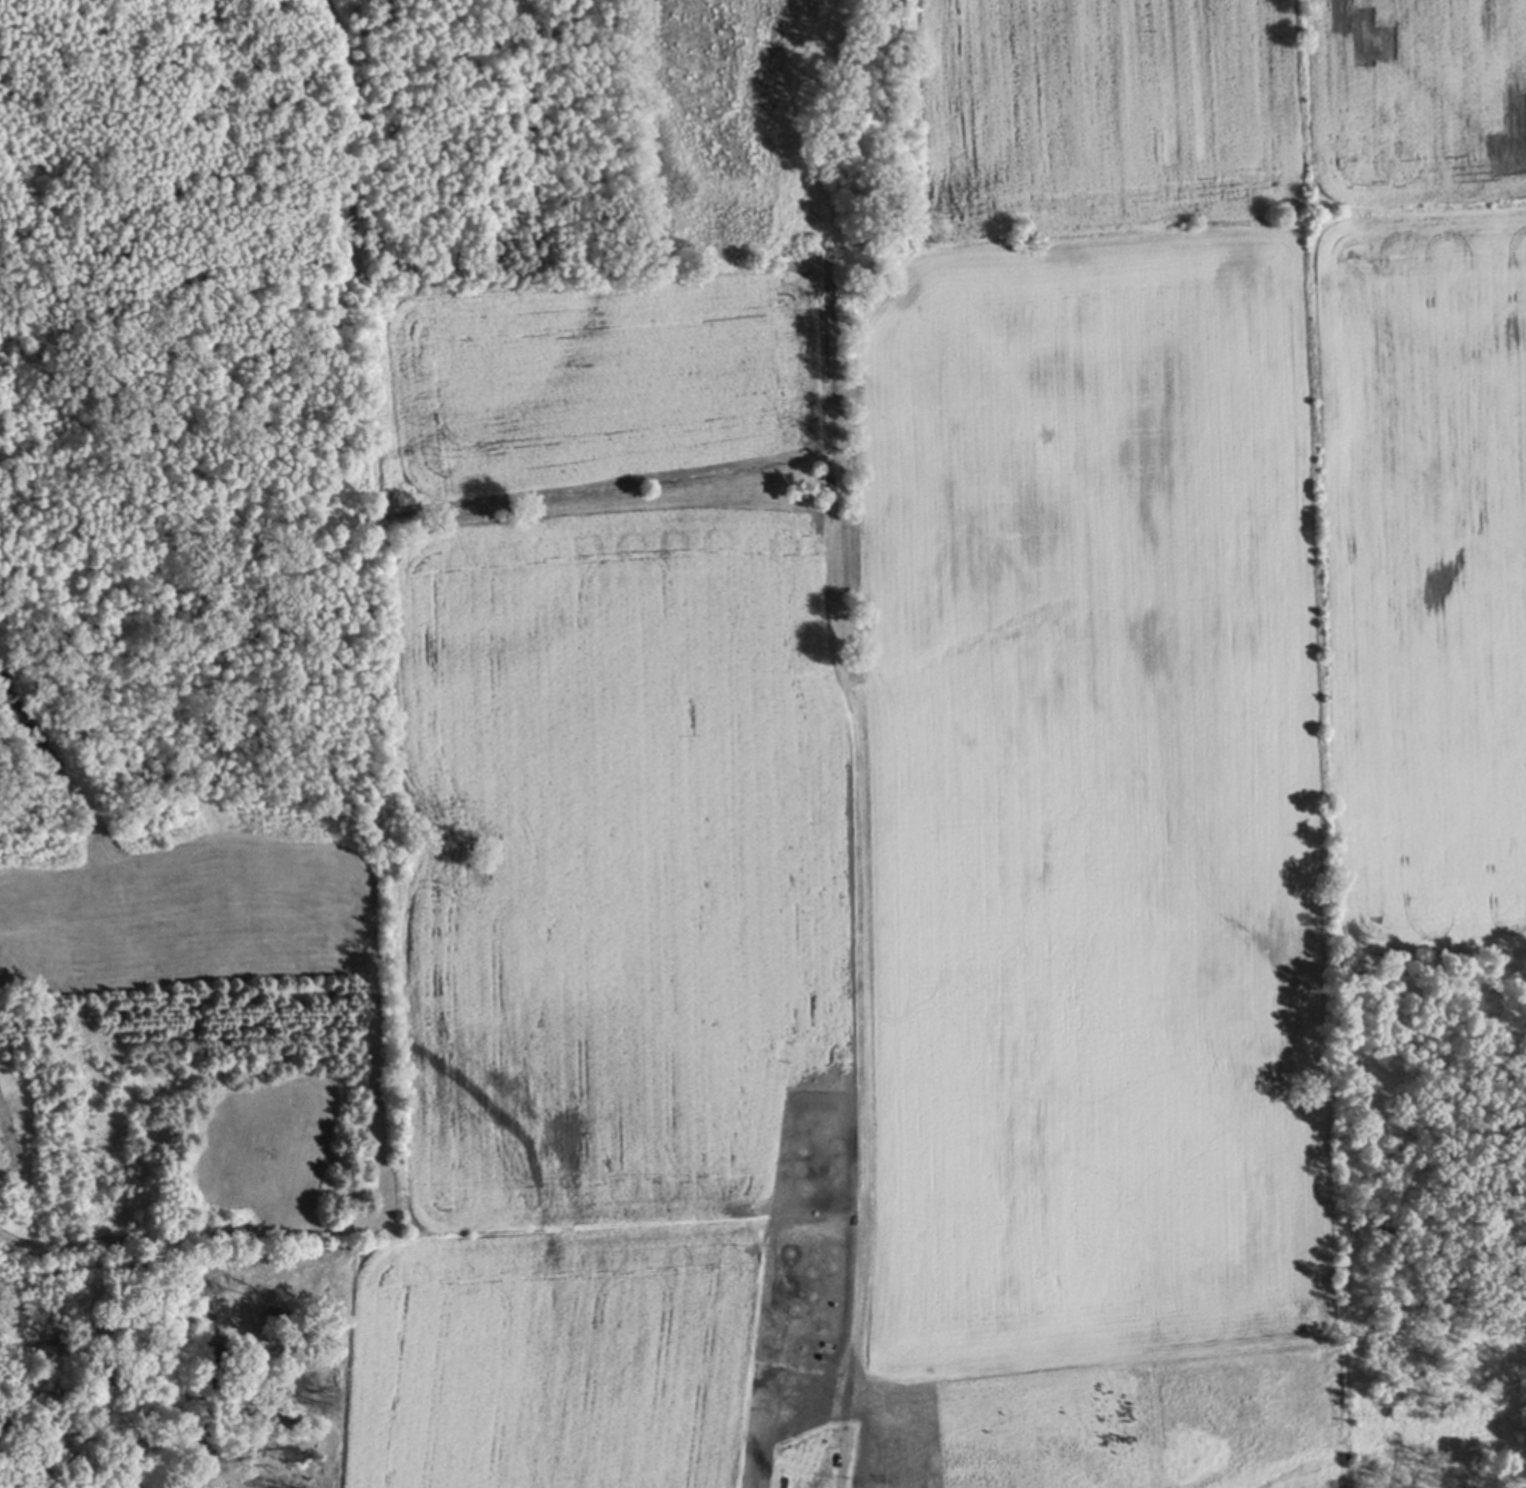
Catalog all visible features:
crop: (970, 770)

